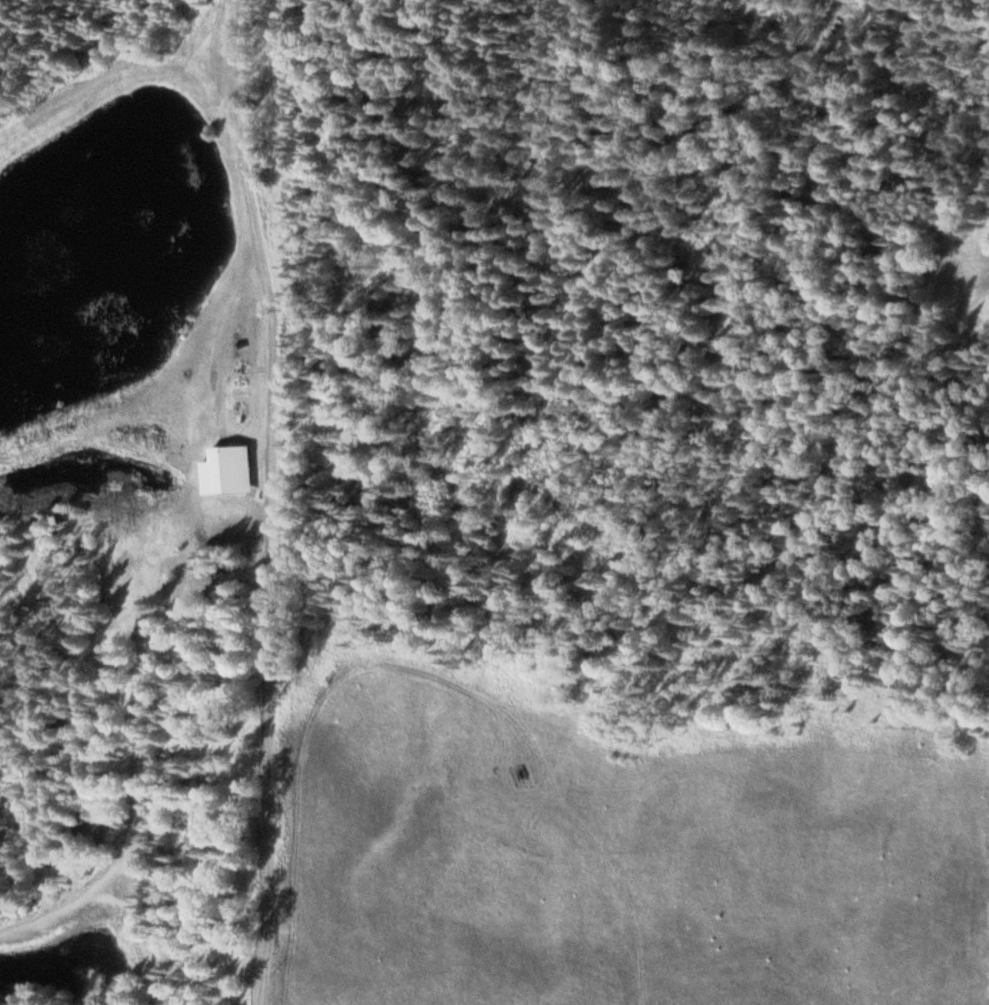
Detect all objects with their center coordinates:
building: (229, 471)
building: (59, 517)
road: (267, 758)
petroleum well: (526, 776)

